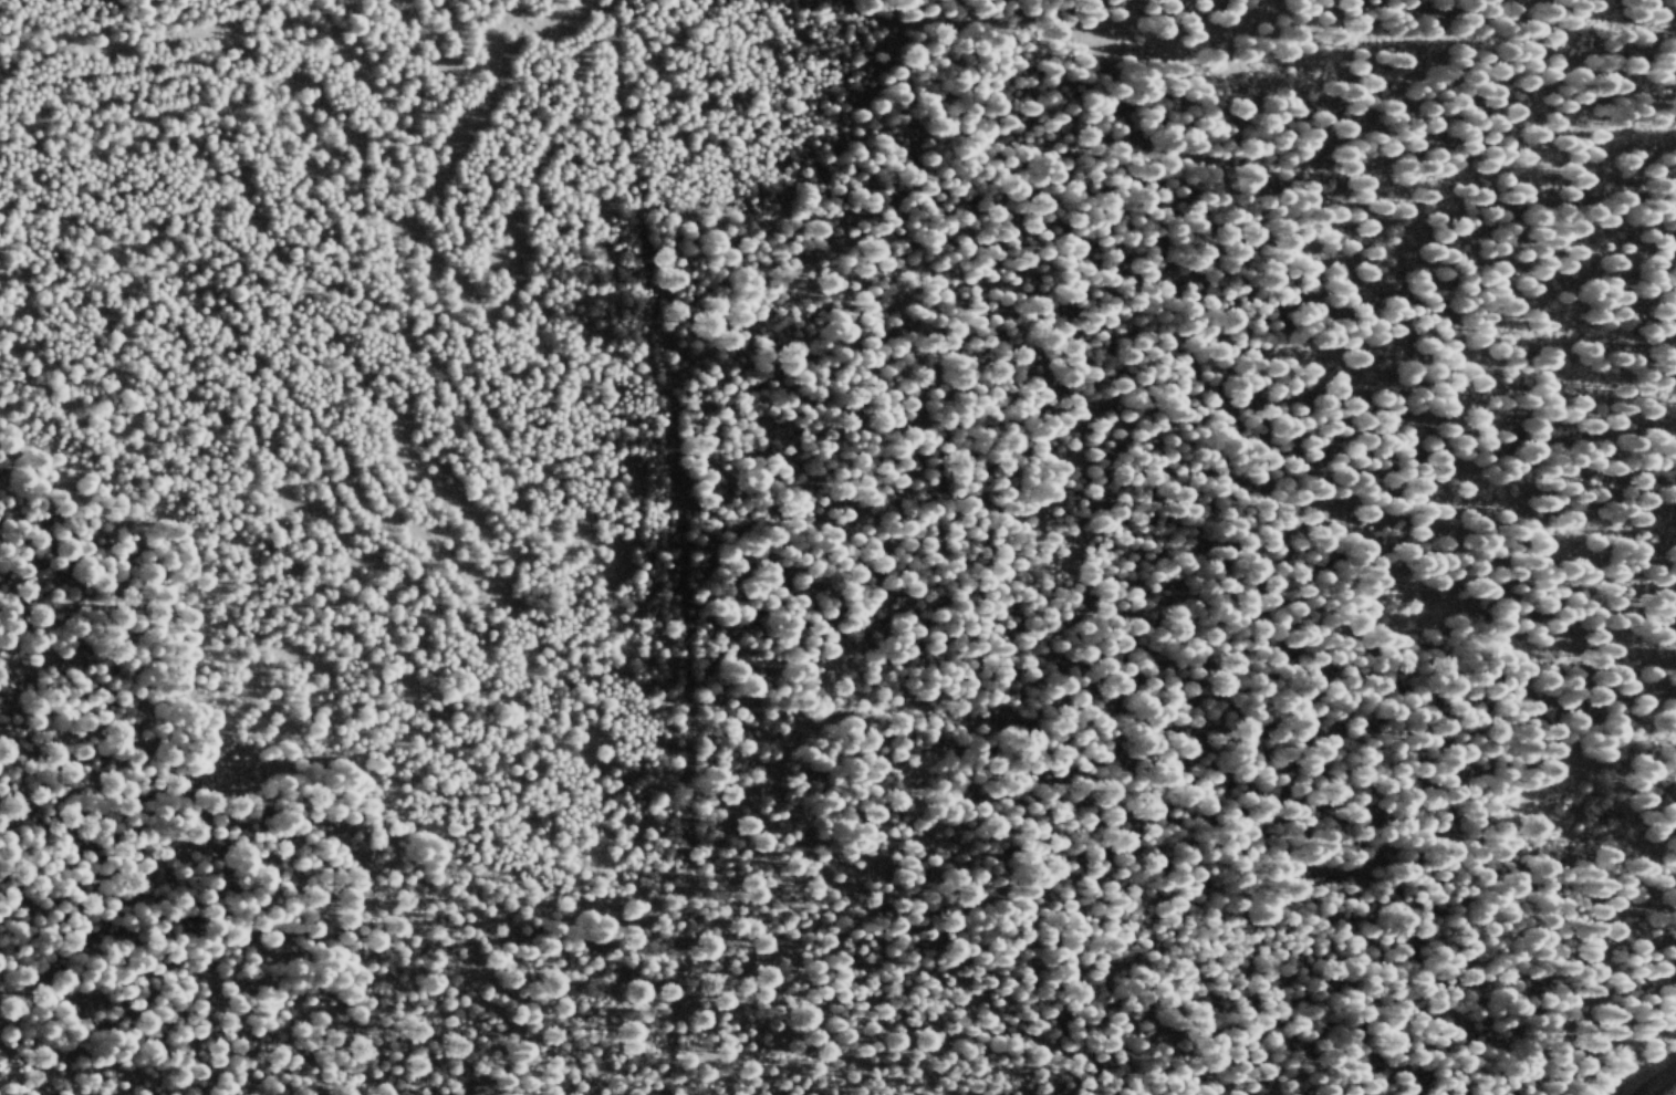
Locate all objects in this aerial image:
road: (1654, 1076)

